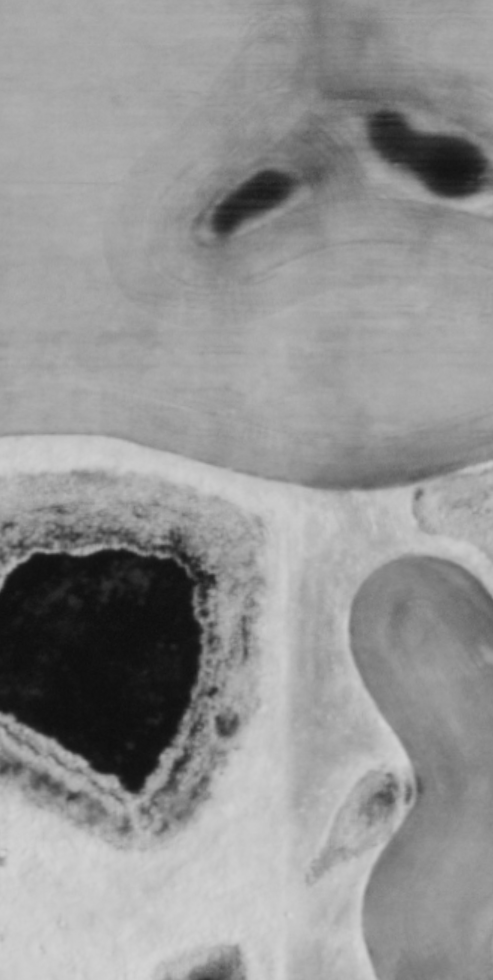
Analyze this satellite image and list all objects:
building: (2, 858)

